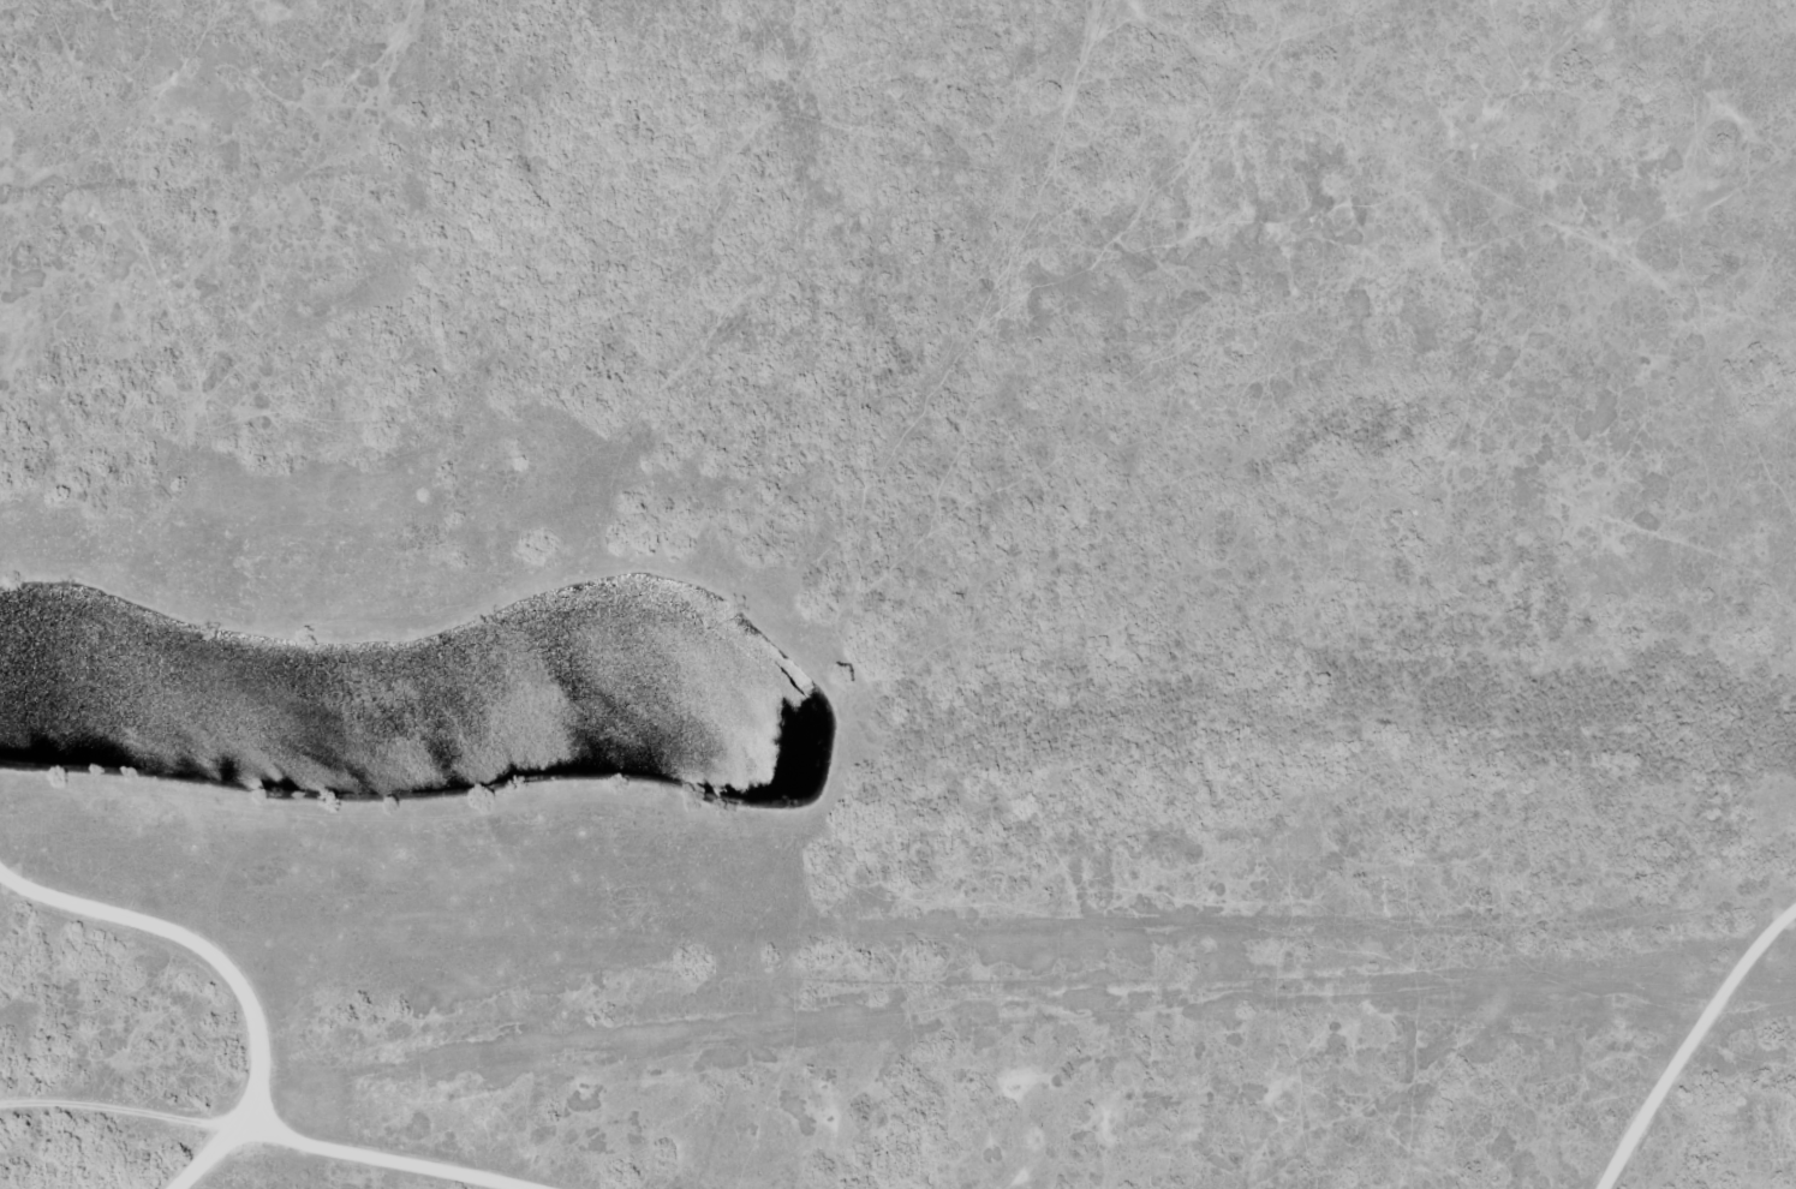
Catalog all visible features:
road: (796, 891)
road: (1287, 946)
road: (154, 1111)
road: (183, 1151)
road: (19, 1153)

